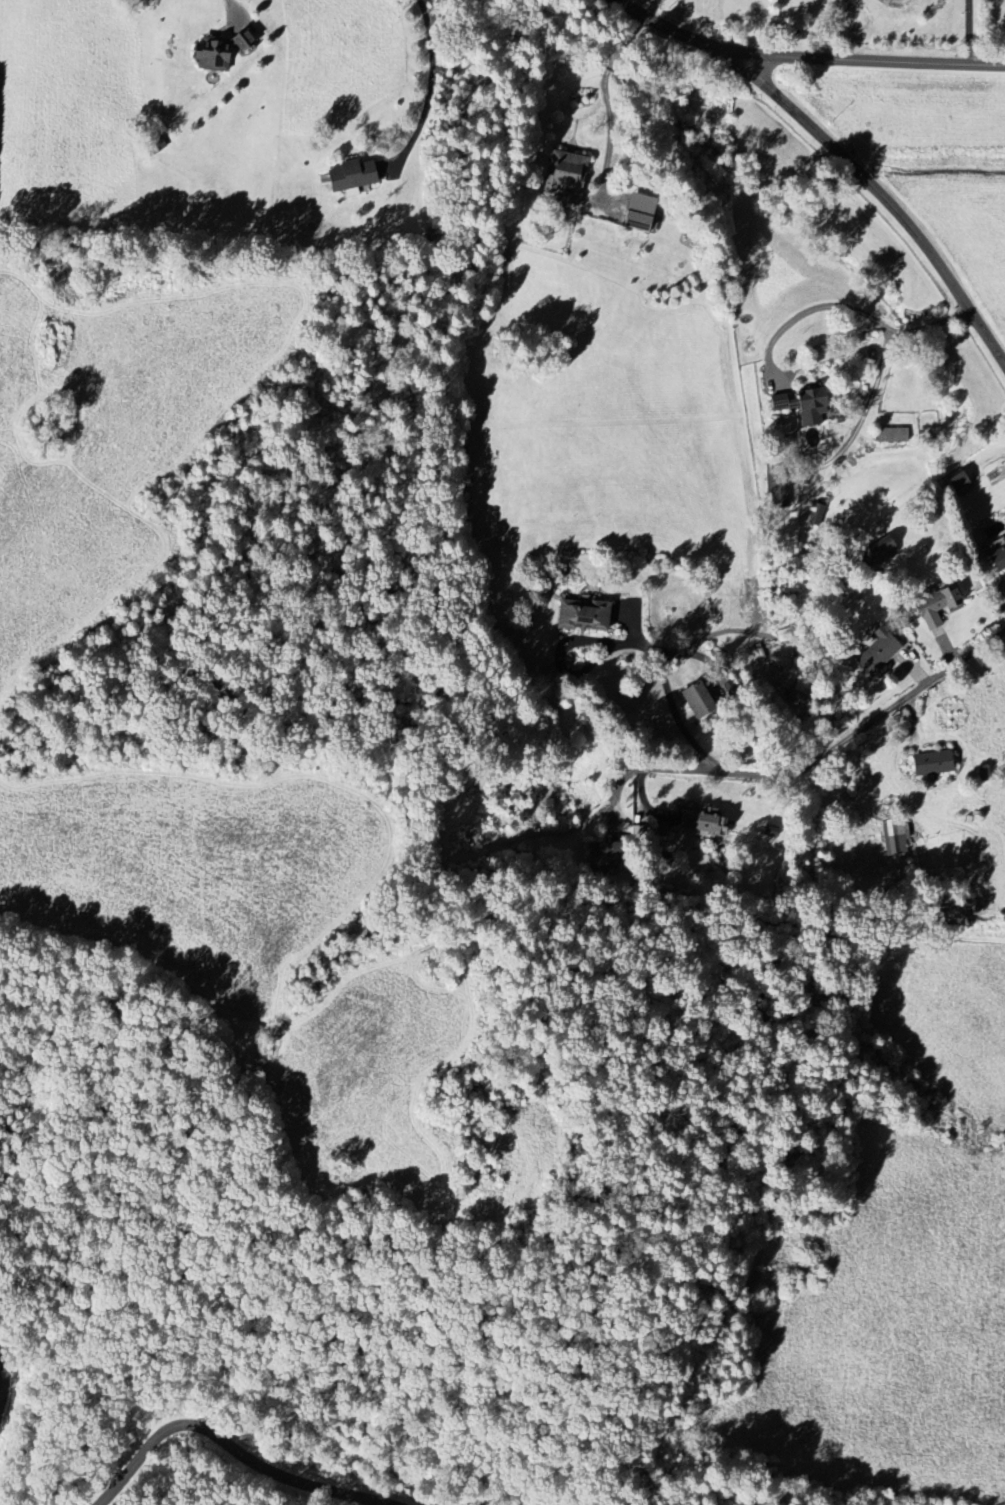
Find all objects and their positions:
road: (233, 9)
road: (969, 34)
building: (208, 54)
road: (802, 55)
road: (430, 93)
road: (607, 101)
building: (347, 177)
building: (563, 177)
road: (880, 188)
building: (638, 213)
road: (850, 309)
building: (775, 403)
building: (806, 407)
building: (890, 436)
building: (957, 484)
building: (776, 496)
building: (814, 516)
building: (877, 554)
building: (997, 556)
building: (934, 600)
building: (580, 614)
road: (711, 635)
road: (631, 642)
building: (875, 654)
building: (703, 695)
road: (819, 757)
building: (929, 764)
building: (702, 822)
building: (892, 840)
building: (597, 855)
road: (224, 1435)

